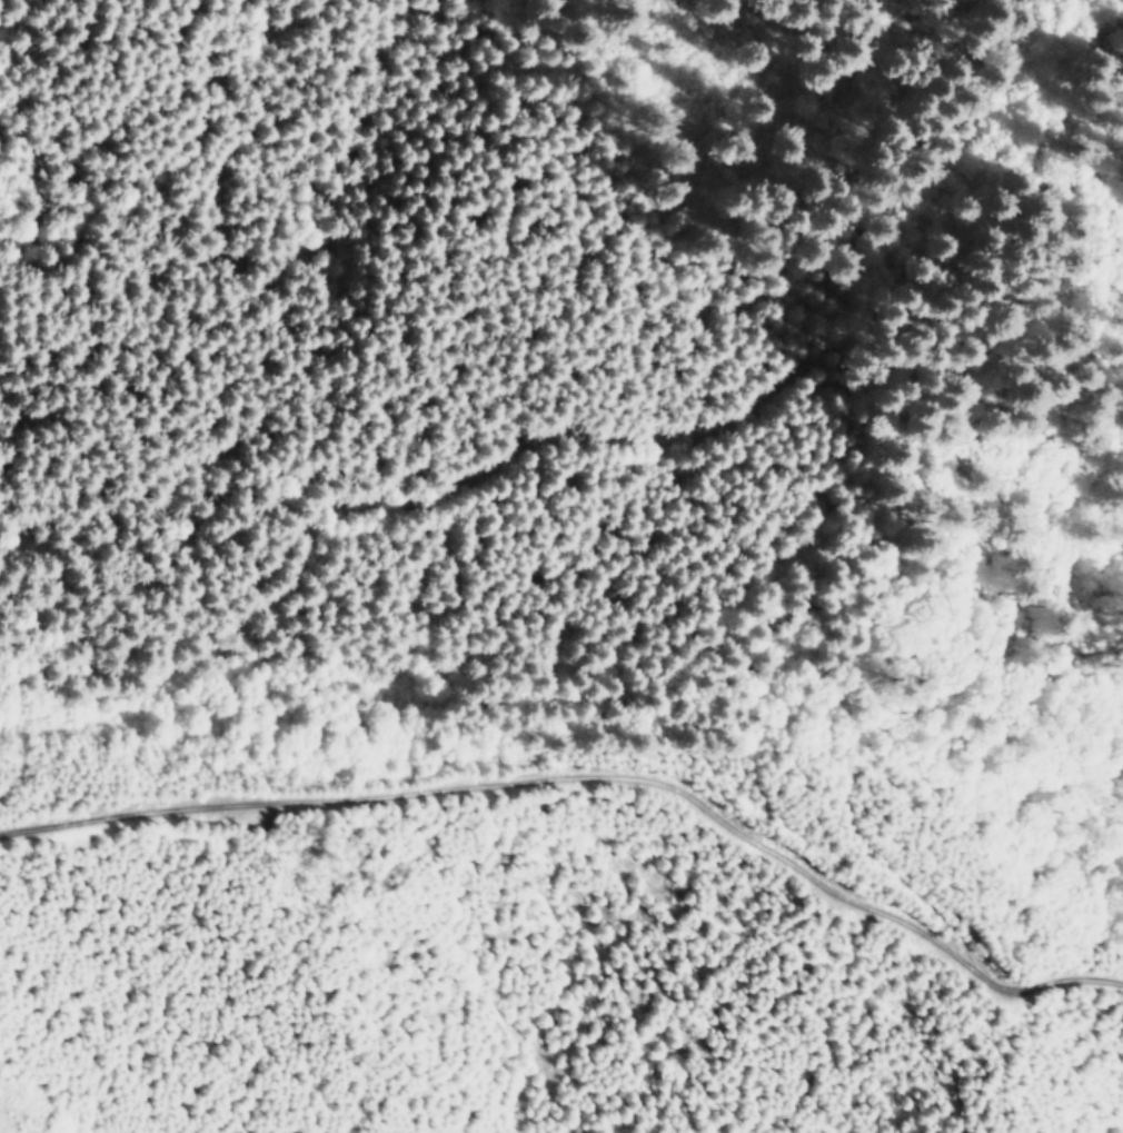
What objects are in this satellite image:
road: (857, 368)

